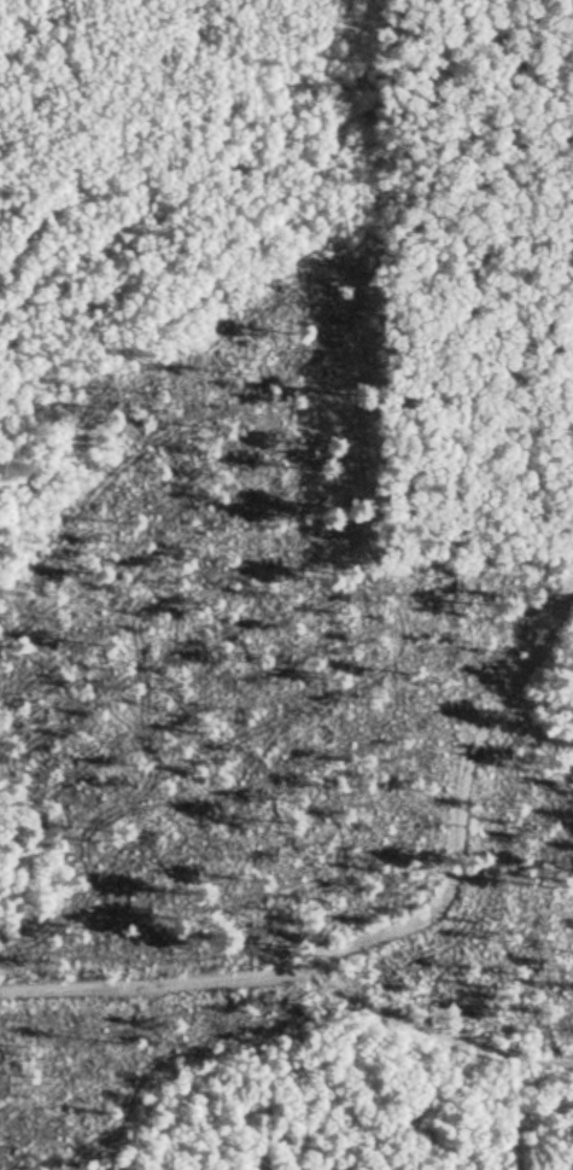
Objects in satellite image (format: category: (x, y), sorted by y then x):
road: (386, 926)
road: (425, 1028)

